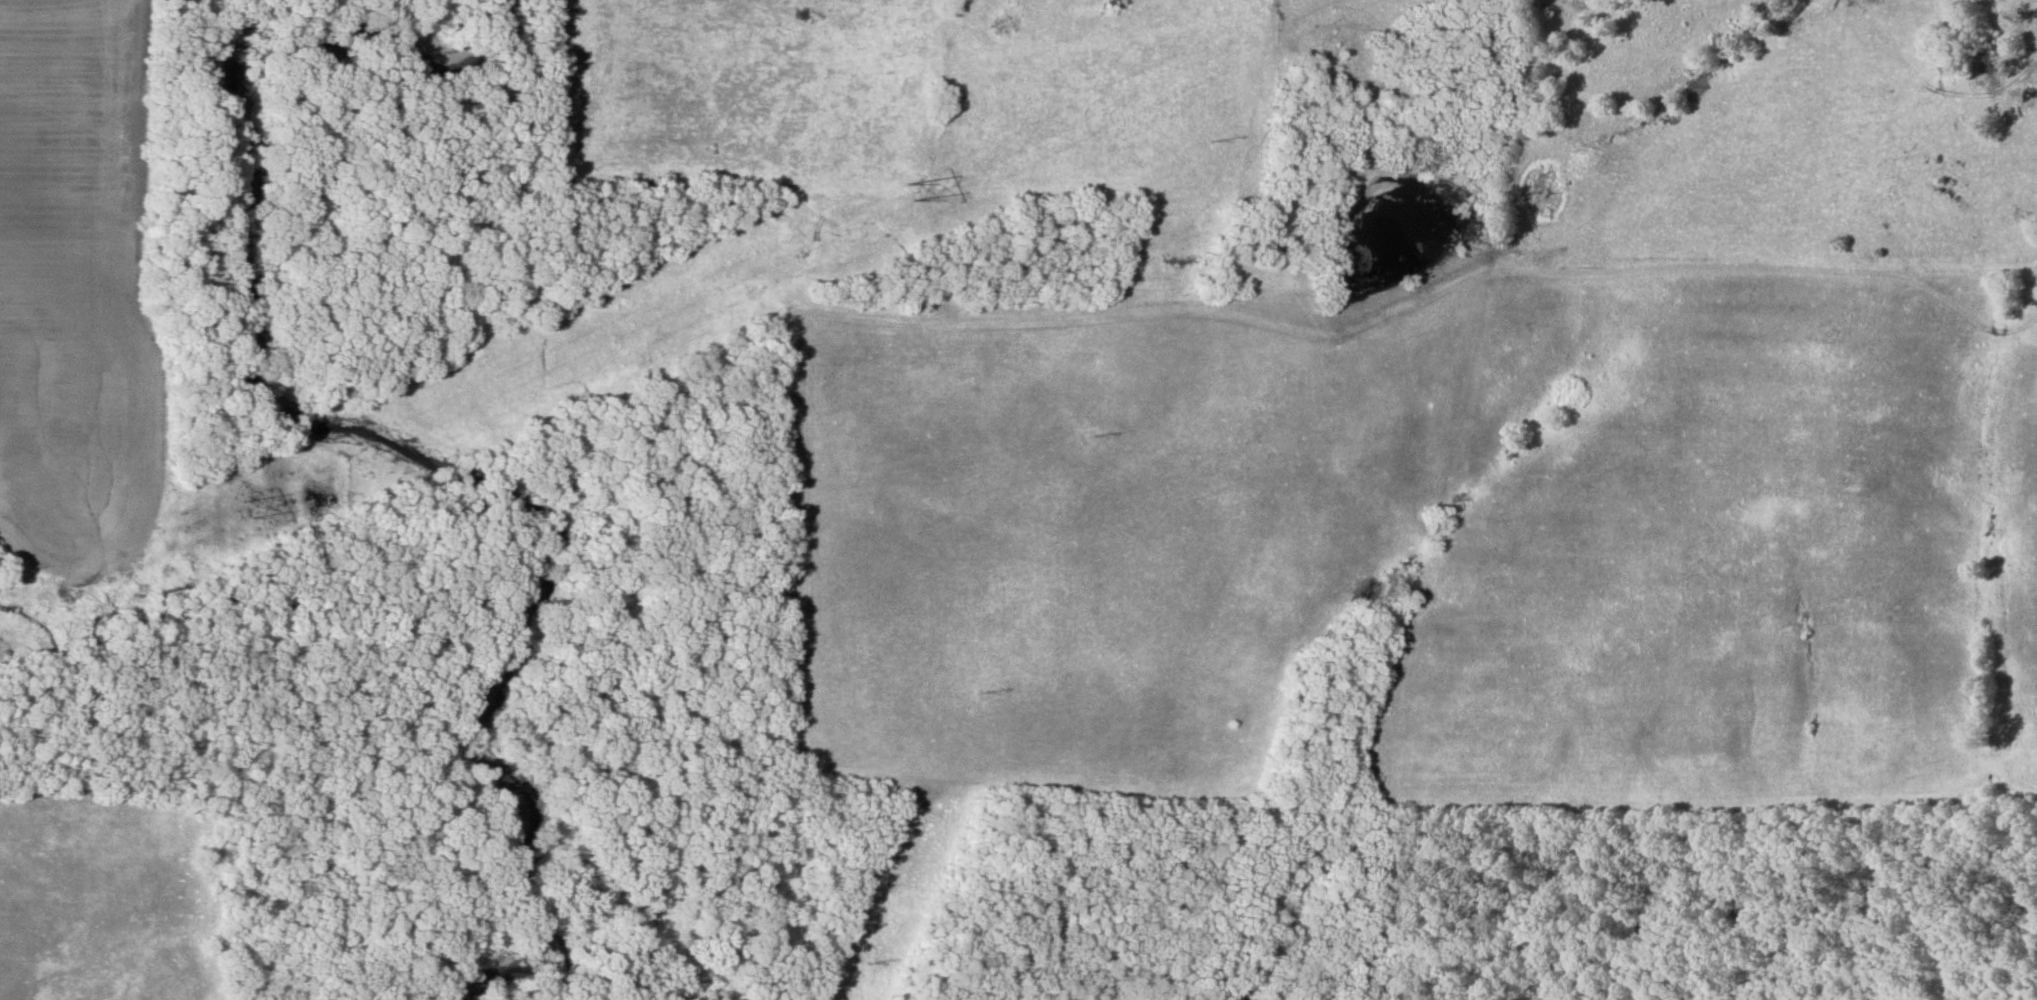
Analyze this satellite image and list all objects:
power tower: (911, 193)
power tower: (244, 515)

